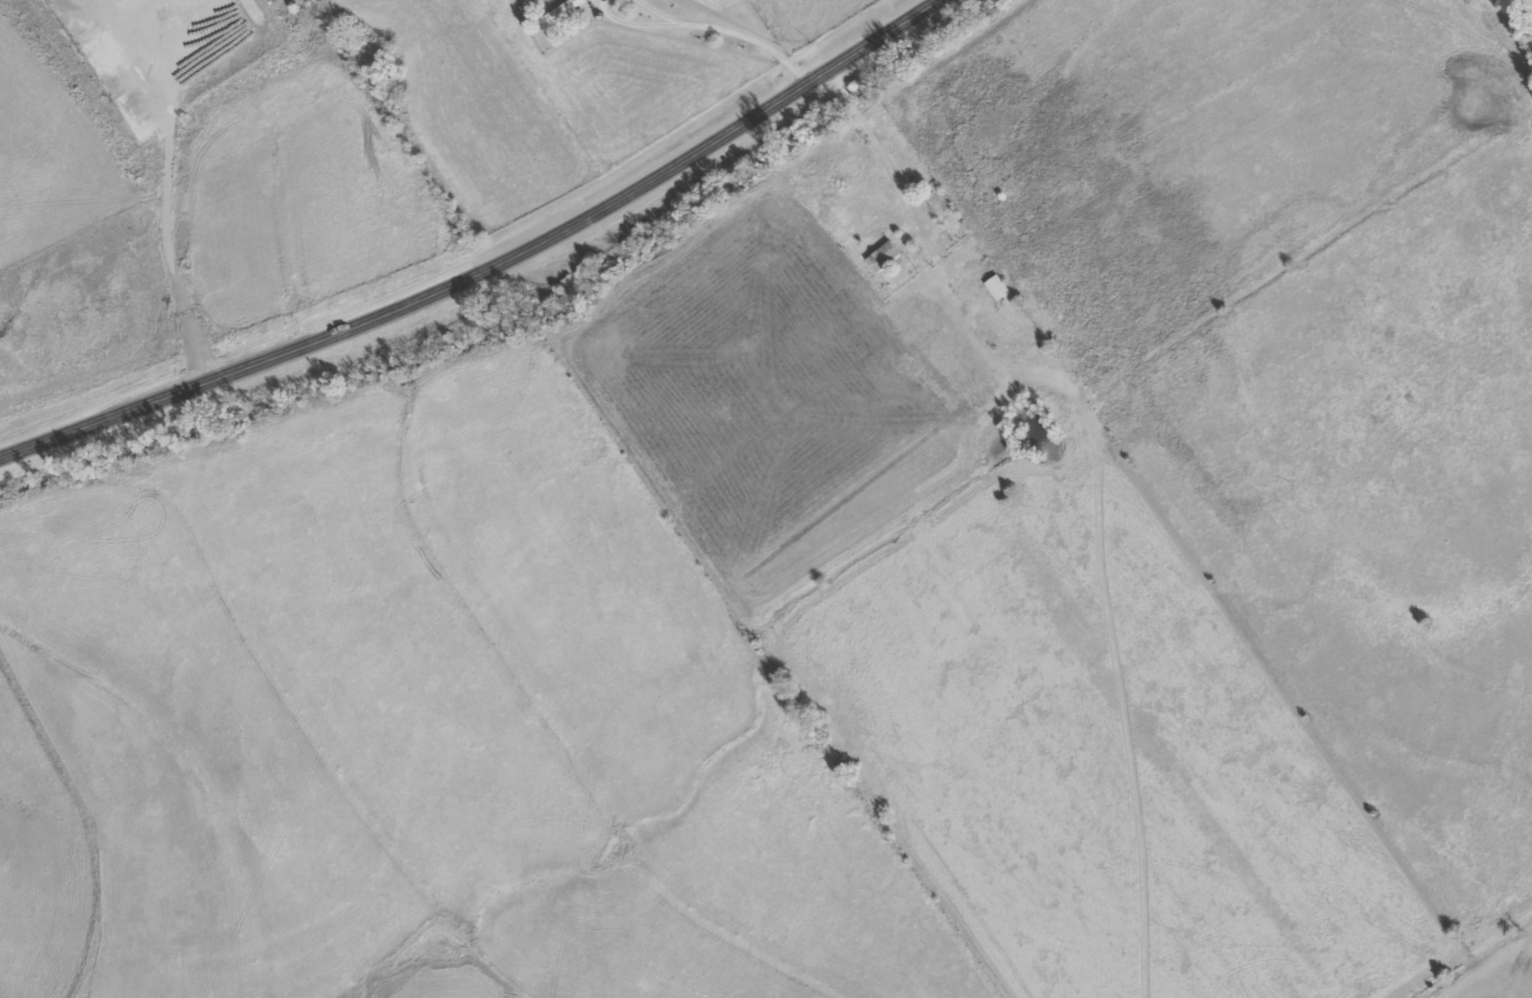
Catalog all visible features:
building: (564, 11)
road: (657, 11)
road: (632, 22)
road: (749, 38)
road: (160, 217)
building: (886, 257)
road: (490, 270)
building: (1000, 288)

